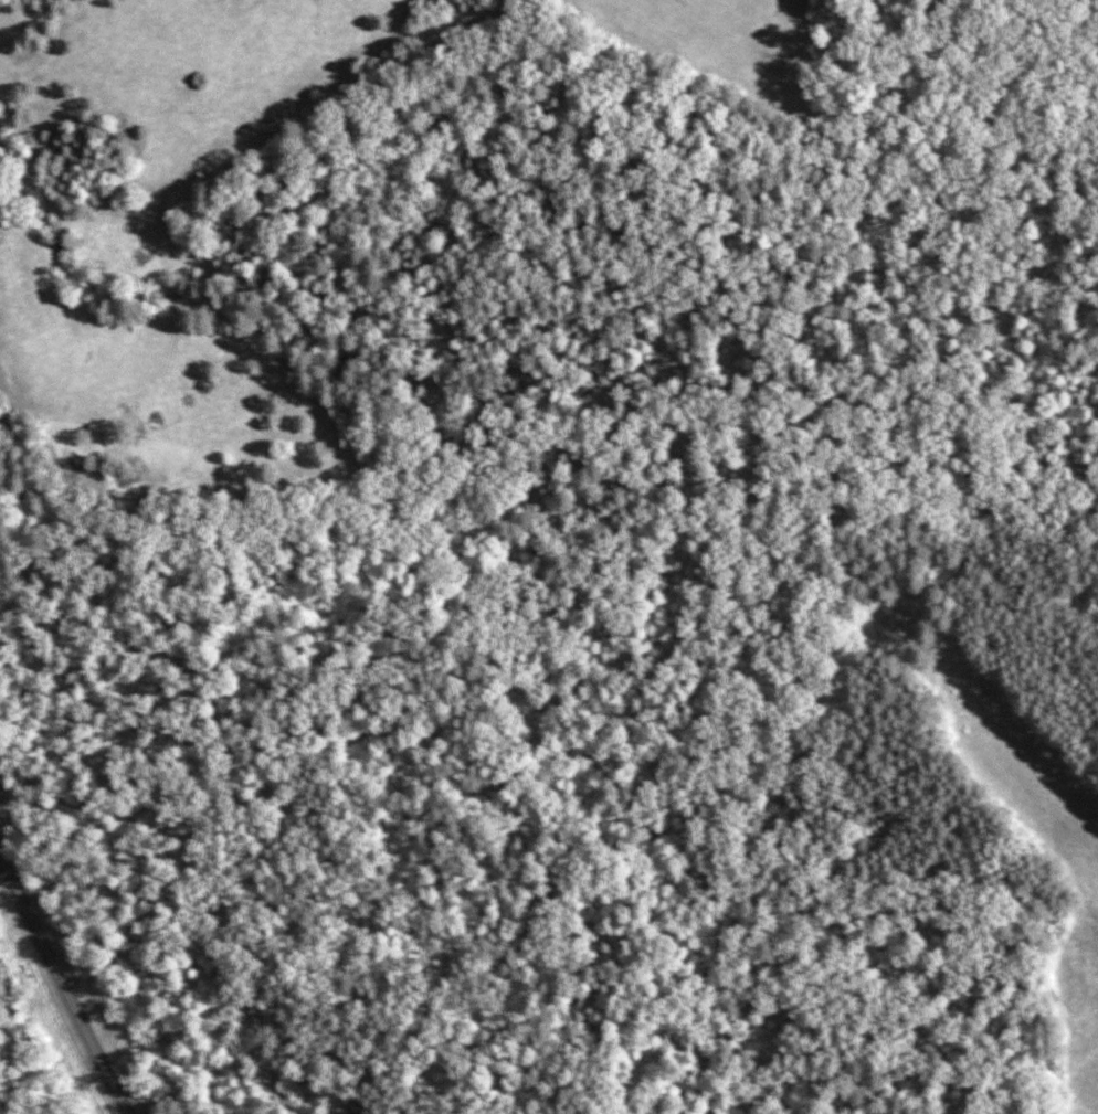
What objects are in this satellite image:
road: (61, 988)

